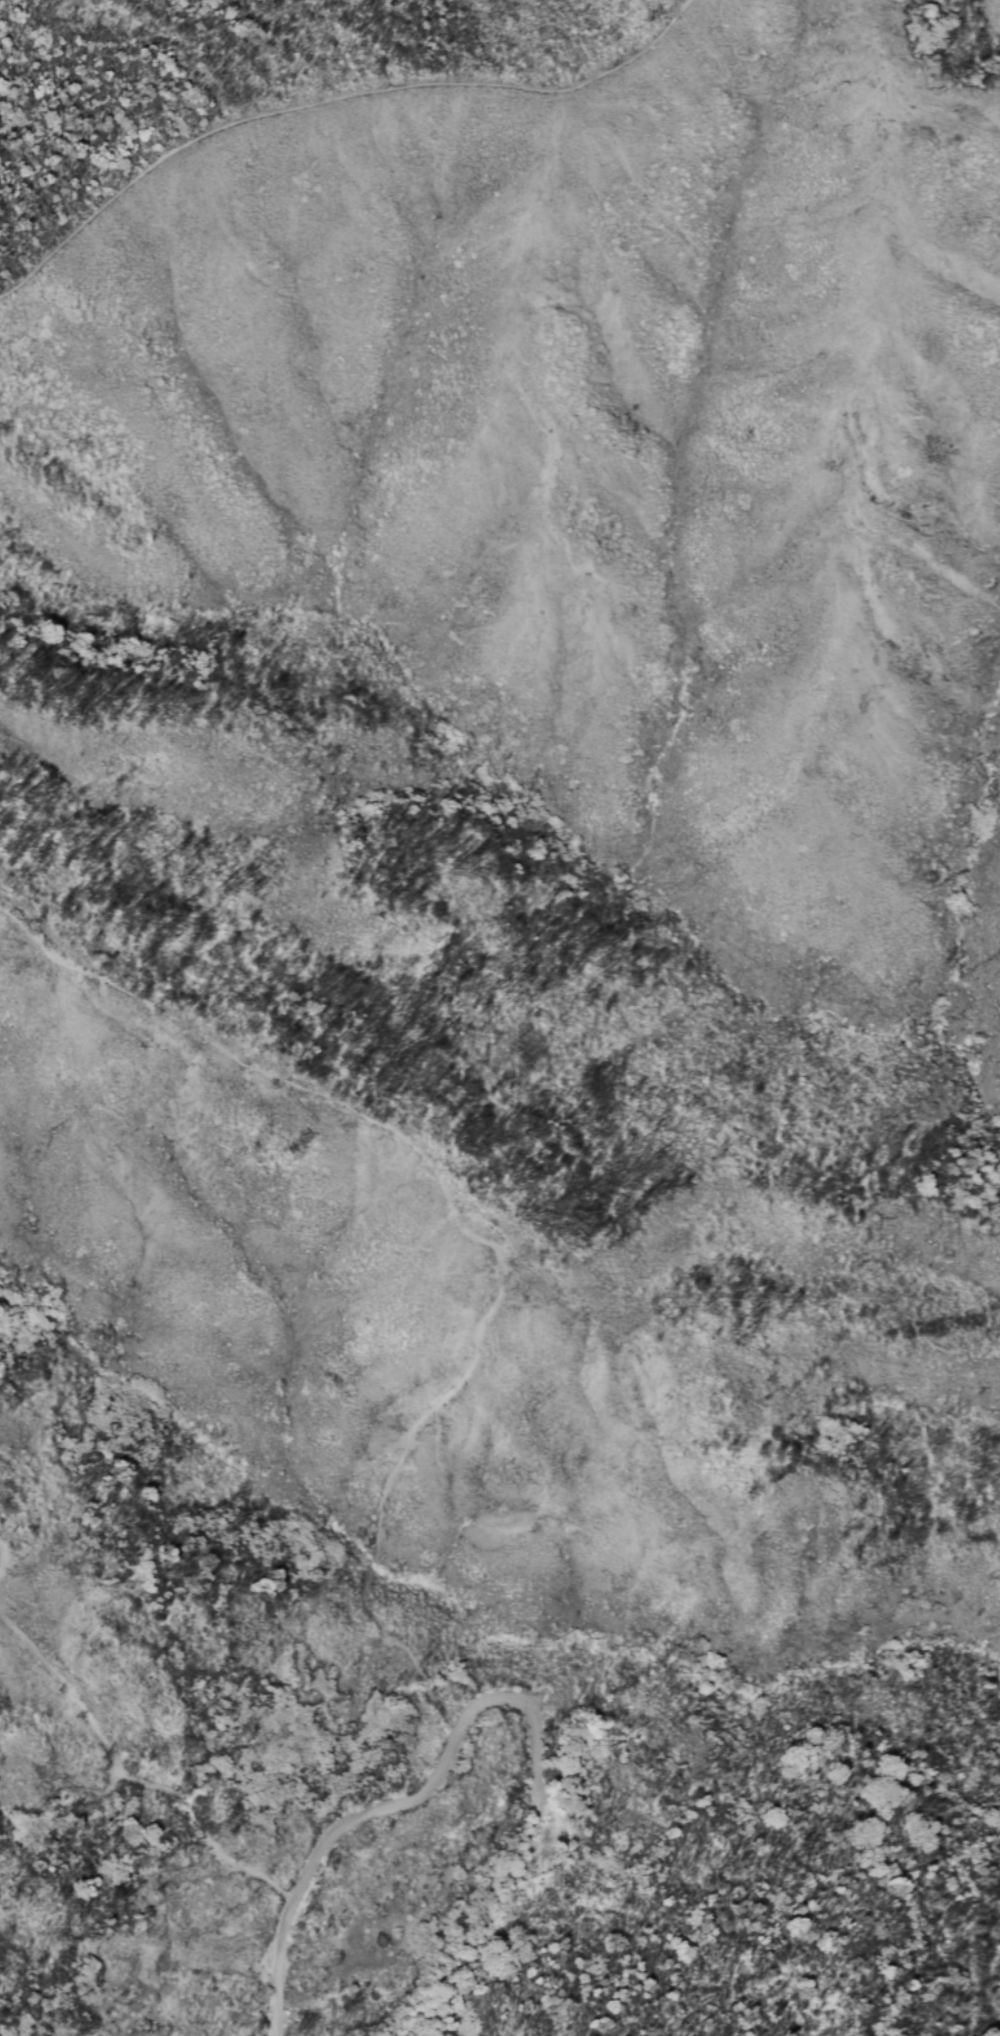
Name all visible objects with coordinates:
road: (335, 100)
road: (466, 1236)
road: (4, 1560)
road: (1, 1574)
road: (1, 1576)
road: (131, 1777)
road: (401, 1804)

